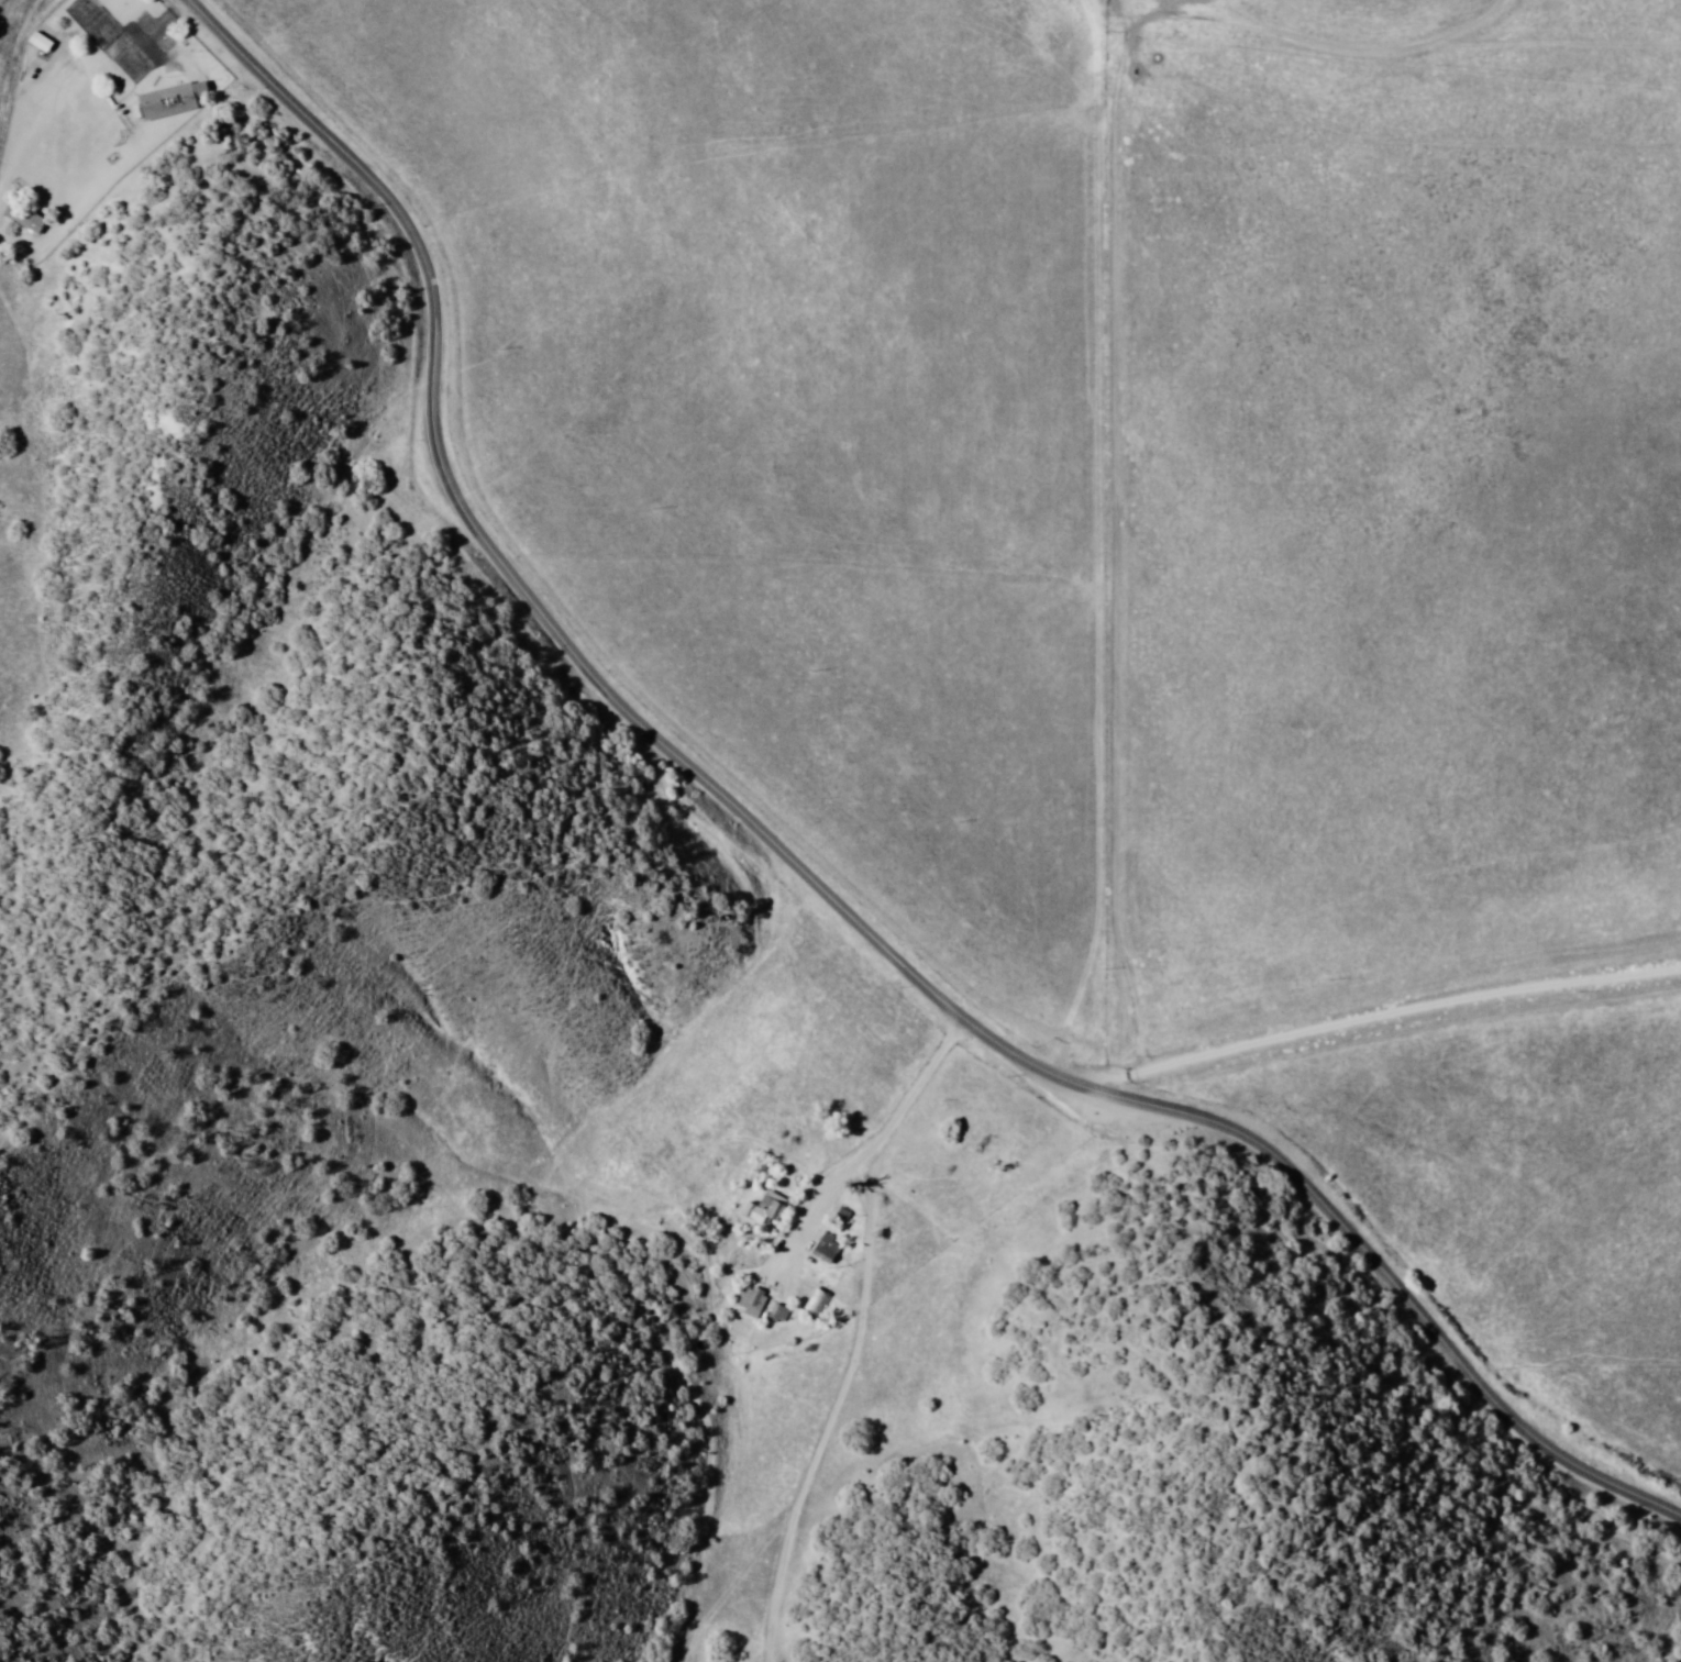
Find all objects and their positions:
building: (27, 37)
building: (137, 54)
building: (165, 100)
building: (23, 218)
road: (1117, 347)
crop: (1147, 540)
road: (800, 871)
road: (1379, 1010)
road: (859, 1138)
building: (753, 1205)
building: (768, 1212)
building: (815, 1243)
building: (822, 1254)
building: (752, 1299)
building: (767, 1309)
building: (814, 1309)

